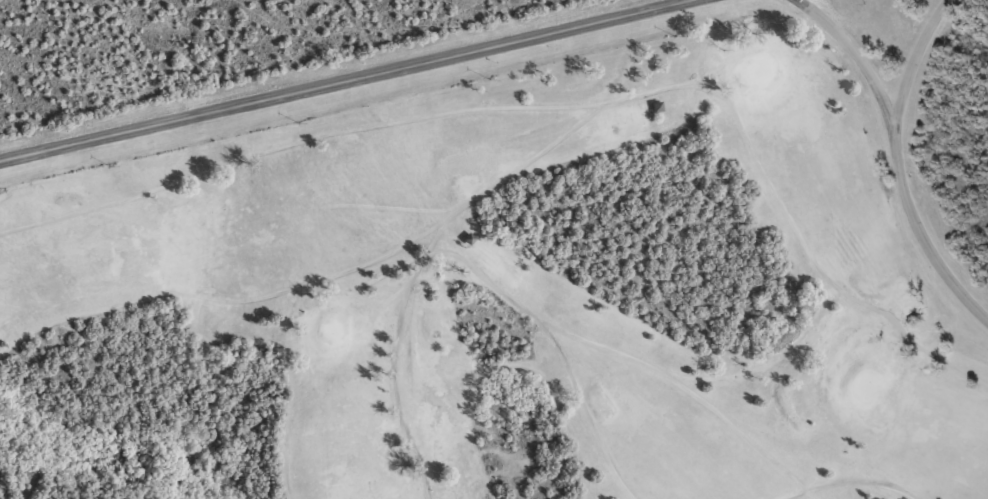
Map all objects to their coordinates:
road: (912, 63)
road: (346, 80)
building: (648, 106)
road: (899, 156)
building: (460, 237)
building: (906, 317)

